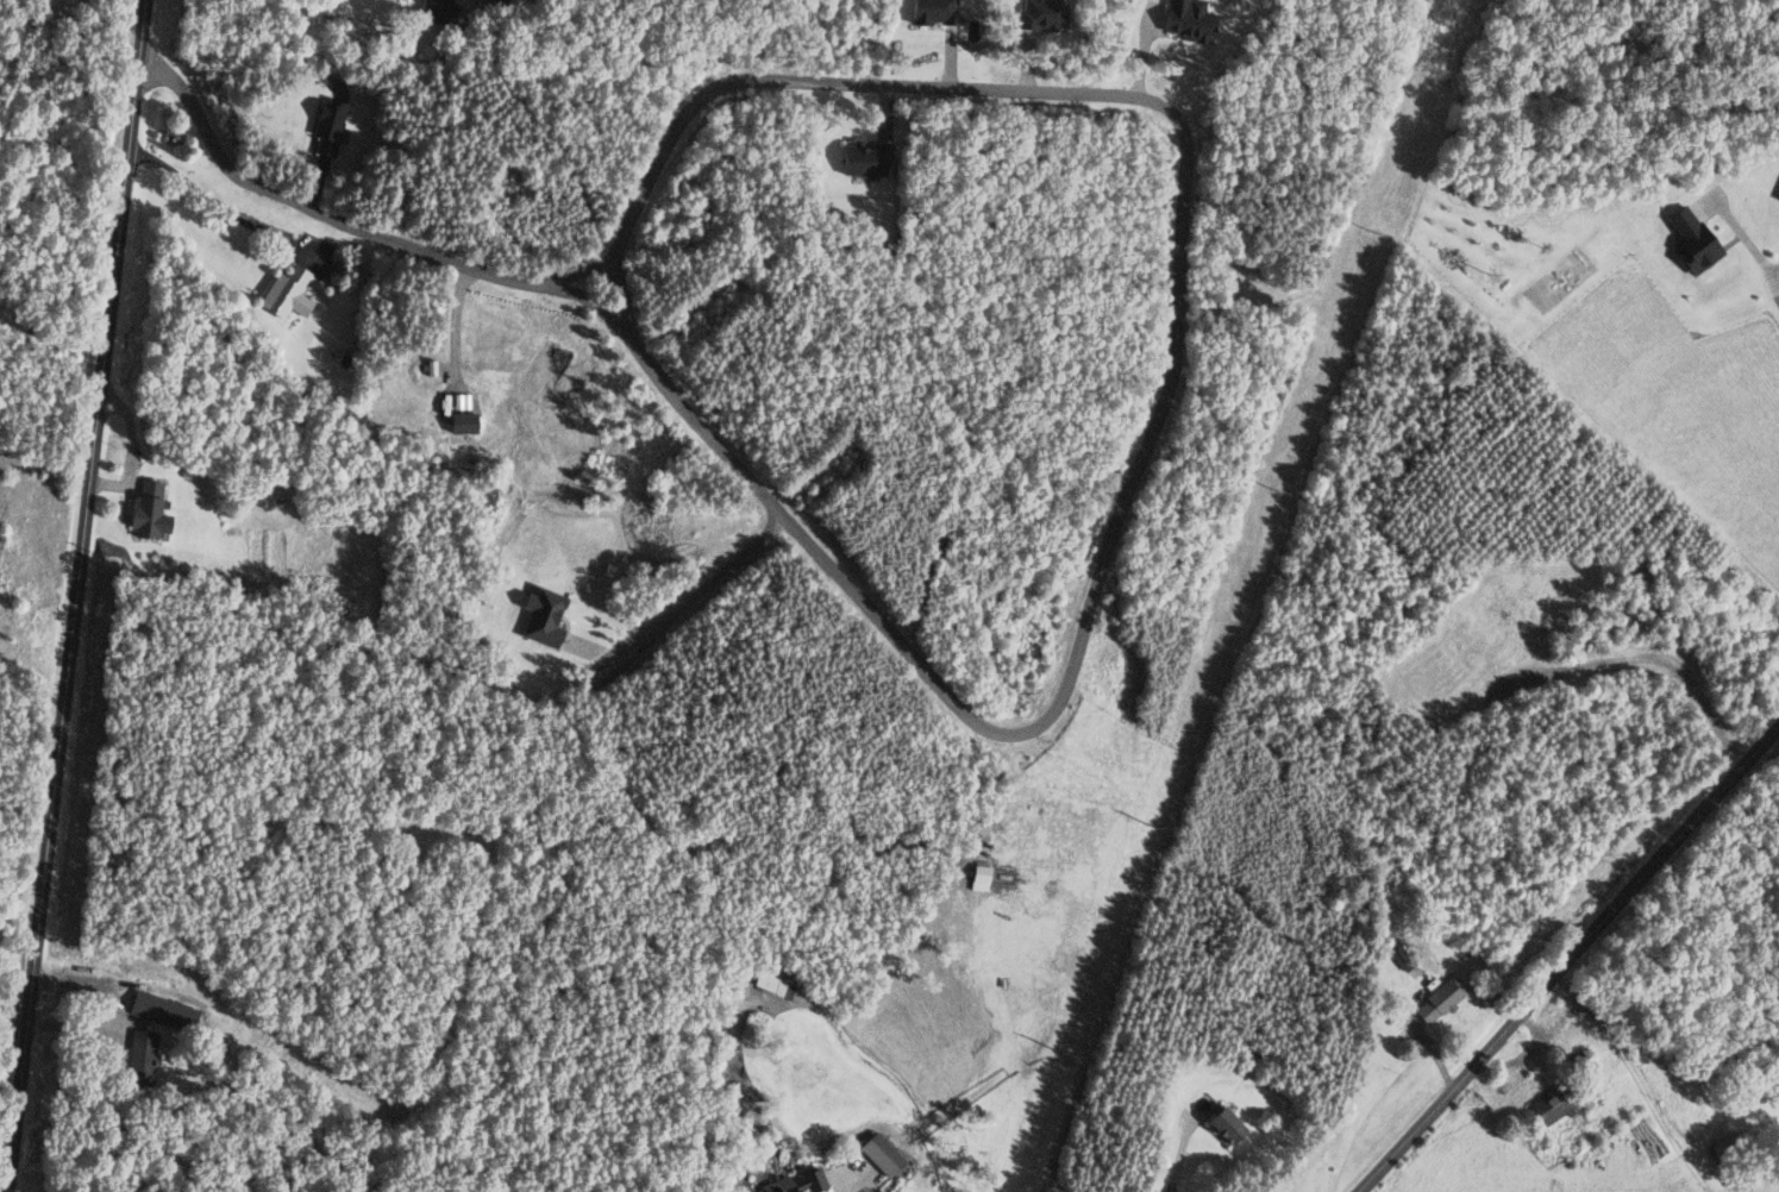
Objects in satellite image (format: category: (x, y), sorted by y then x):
building: (438, 10)
building: (933, 11)
building: (1041, 13)
building: (1186, 19)
building: (327, 126)
building: (865, 158)
building: (1778, 196)
road: (1766, 262)
building: (286, 290)
road: (620, 293)
building: (465, 421)
building: (148, 509)
road: (697, 590)
road: (77, 596)
road: (1083, 634)
building: (1402, 956)
road: (1564, 961)
building: (751, 979)
building: (1440, 998)
building: (167, 1010)
road: (12, 1022)
building: (144, 1058)
building: (1581, 1060)
building: (1552, 1104)
building: (1224, 1124)
building: (875, 1147)
building: (1725, 1148)
building: (802, 1184)
road: (845, 1187)

